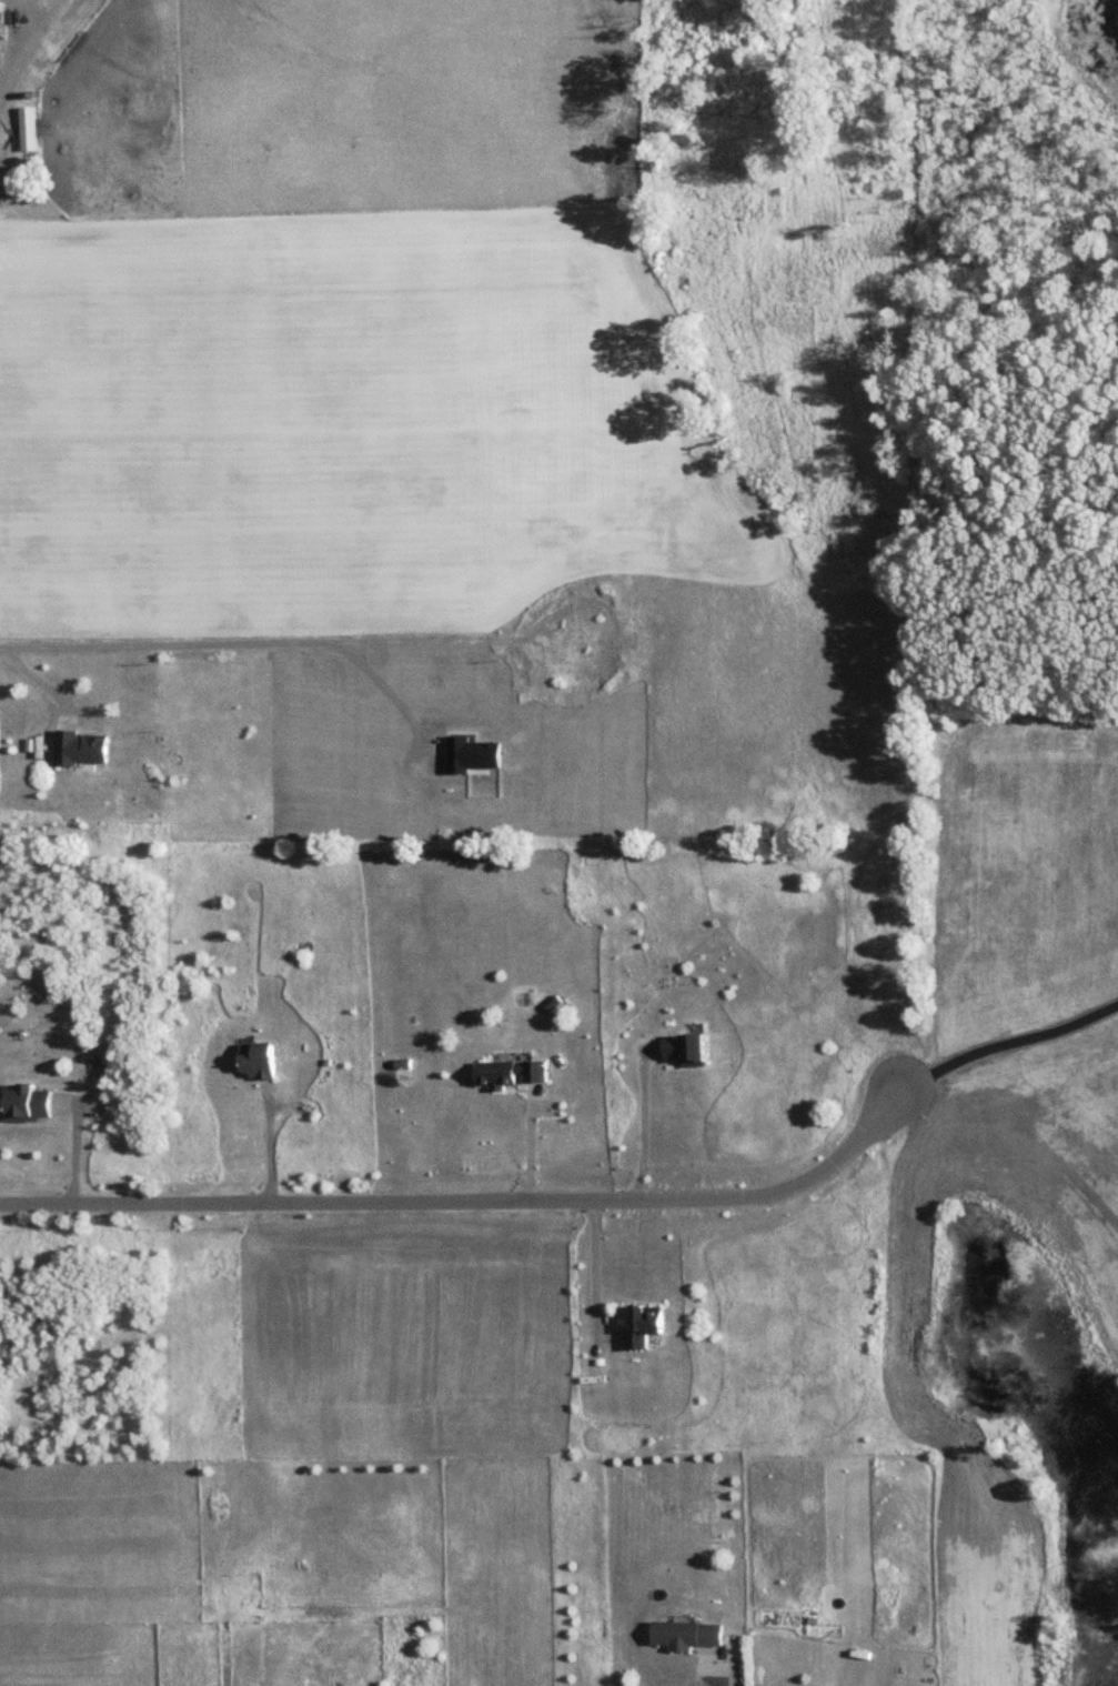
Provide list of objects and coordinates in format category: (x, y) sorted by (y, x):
road: (23, 47)
road: (36, 680)
building: (79, 747)
road: (1000, 1044)
building: (686, 1048)
building: (258, 1058)
building: (510, 1073)
building: (24, 1103)
road: (642, 1121)
road: (268, 1140)
road: (531, 1143)
road: (461, 1195)
road: (596, 1269)
building: (648, 1324)
building: (687, 1634)
road: (719, 1677)

